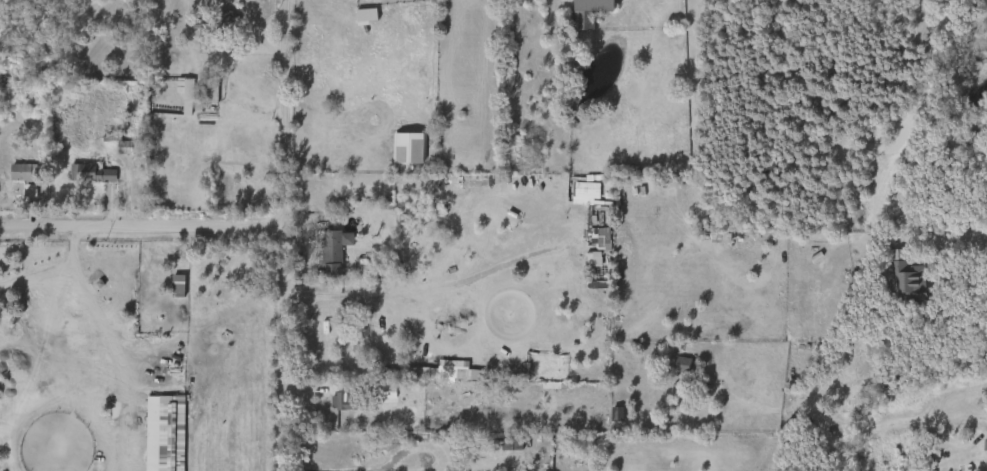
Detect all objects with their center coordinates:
building: (595, 11)
building: (228, 22)
building: (357, 25)
building: (186, 87)
building: (211, 91)
building: (129, 146)
building: (412, 149)
building: (399, 158)
building: (24, 172)
building: (93, 172)
building: (13, 181)
building: (82, 182)
road: (144, 230)
road: (288, 235)
road: (938, 240)
building: (331, 247)
building: (593, 247)
building: (376, 269)
building: (908, 284)
building: (169, 294)
road: (101, 348)
building: (672, 374)
building: (430, 381)
building: (347, 401)
building: (332, 410)
building: (160, 434)

